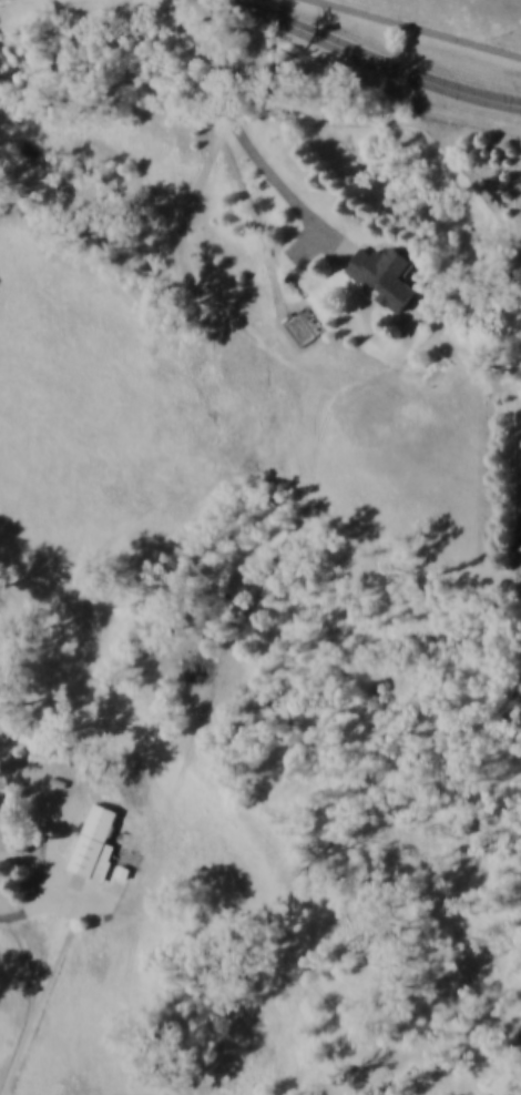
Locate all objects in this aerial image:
road: (419, 28)
road: (367, 54)
road: (246, 138)
building: (379, 266)
building: (96, 841)
road: (37, 909)

